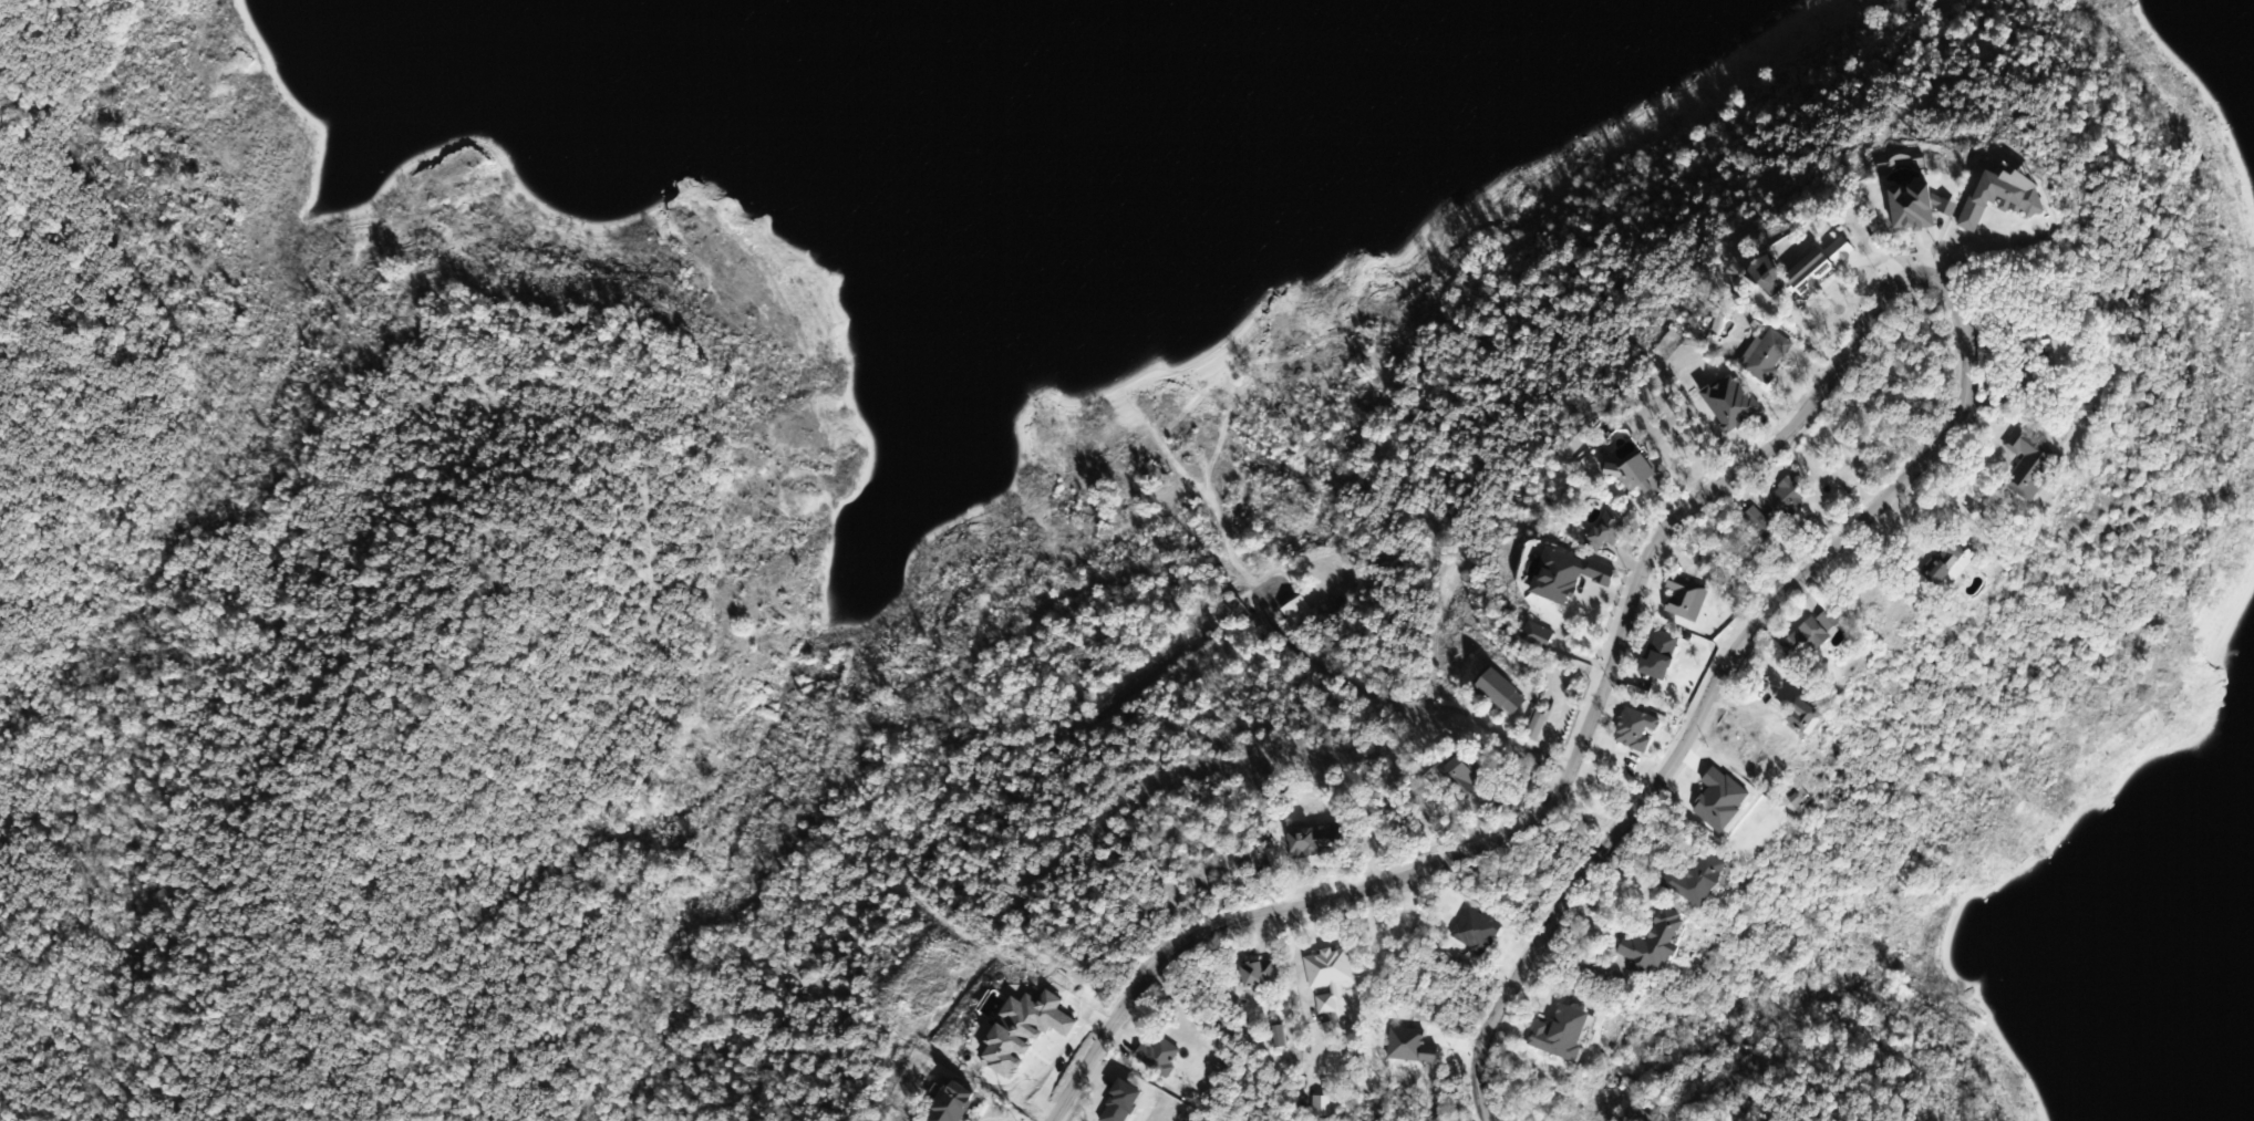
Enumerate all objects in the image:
building: (1913, 207)
building: (1769, 279)
building: (2055, 347)
building: (1767, 354)
road: (1840, 365)
building: (2030, 461)
building: (1637, 470)
building: (1788, 496)
building: (1761, 521)
building: (1611, 526)
building: (1950, 562)
building: (1687, 595)
park: (385, 610)
building: (1234, 612)
building: (1297, 612)
building: (1814, 633)
building: (1502, 692)
building: (1807, 715)
building: (1537, 726)
building: (1636, 728)
building: (1464, 772)
building: (1319, 839)
building: (1698, 878)
building: (1655, 942)
building: (1328, 966)
building: (1261, 974)
building: (1327, 1001)
building: (1562, 1031)
building: (1159, 1055)
building: (952, 1102)
building: (1638, 1114)

